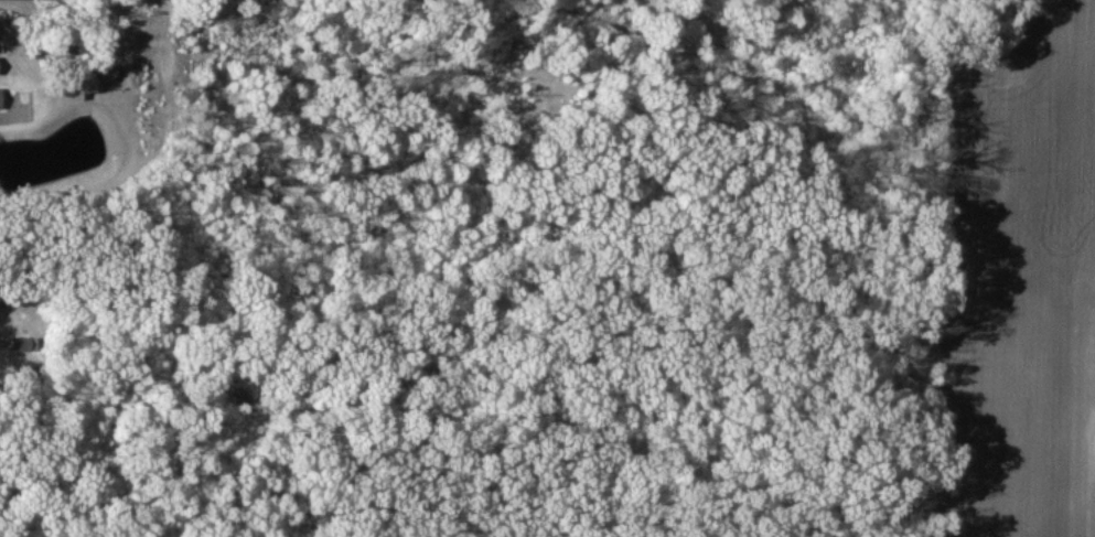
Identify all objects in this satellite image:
building: (1, 60)

